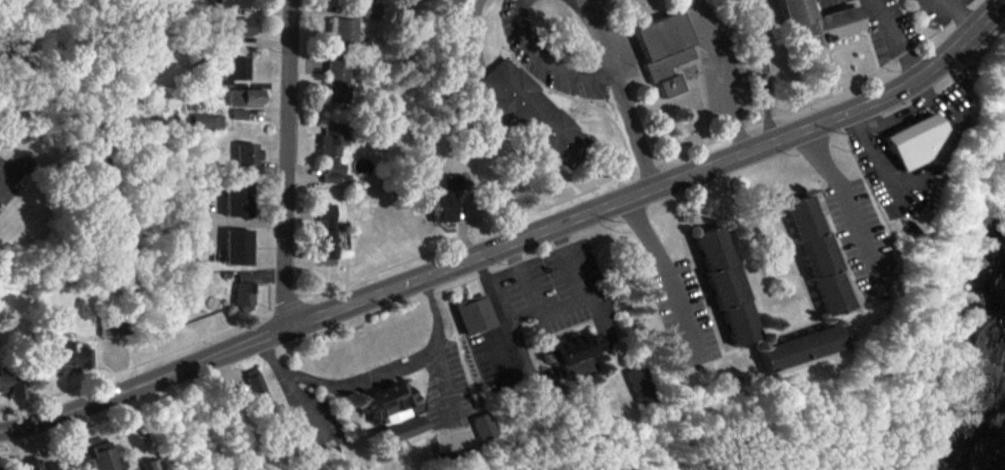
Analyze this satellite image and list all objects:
building: (225, 3)
parking lot: (936, 11)
road: (952, 14)
building: (811, 22)
building: (238, 26)
building: (343, 31)
road: (898, 35)
building: (663, 50)
road: (546, 63)
building: (236, 70)
road: (764, 70)
road: (720, 73)
building: (336, 81)
road: (620, 92)
building: (244, 96)
building: (530, 113)
building: (239, 114)
building: (206, 121)
building: (910, 140)
building: (332, 148)
building: (247, 153)
road: (283, 163)
building: (445, 196)
building: (237, 198)
road: (846, 199)
road: (242, 222)
building: (326, 230)
road: (512, 237)
building: (237, 246)
building: (816, 255)
road: (668, 273)
building: (726, 286)
building: (243, 291)
road: (492, 299)
road: (559, 307)
building: (474, 315)
building: (110, 326)
road: (438, 341)
building: (798, 347)
building: (573, 355)
building: (71, 357)
road: (365, 380)
building: (11, 382)
building: (641, 383)
road: (292, 385)
building: (255, 388)
building: (390, 411)
building: (482, 426)
river: (997, 436)
building: (100, 456)
building: (31, 464)
building: (148, 465)
building: (2, 469)

